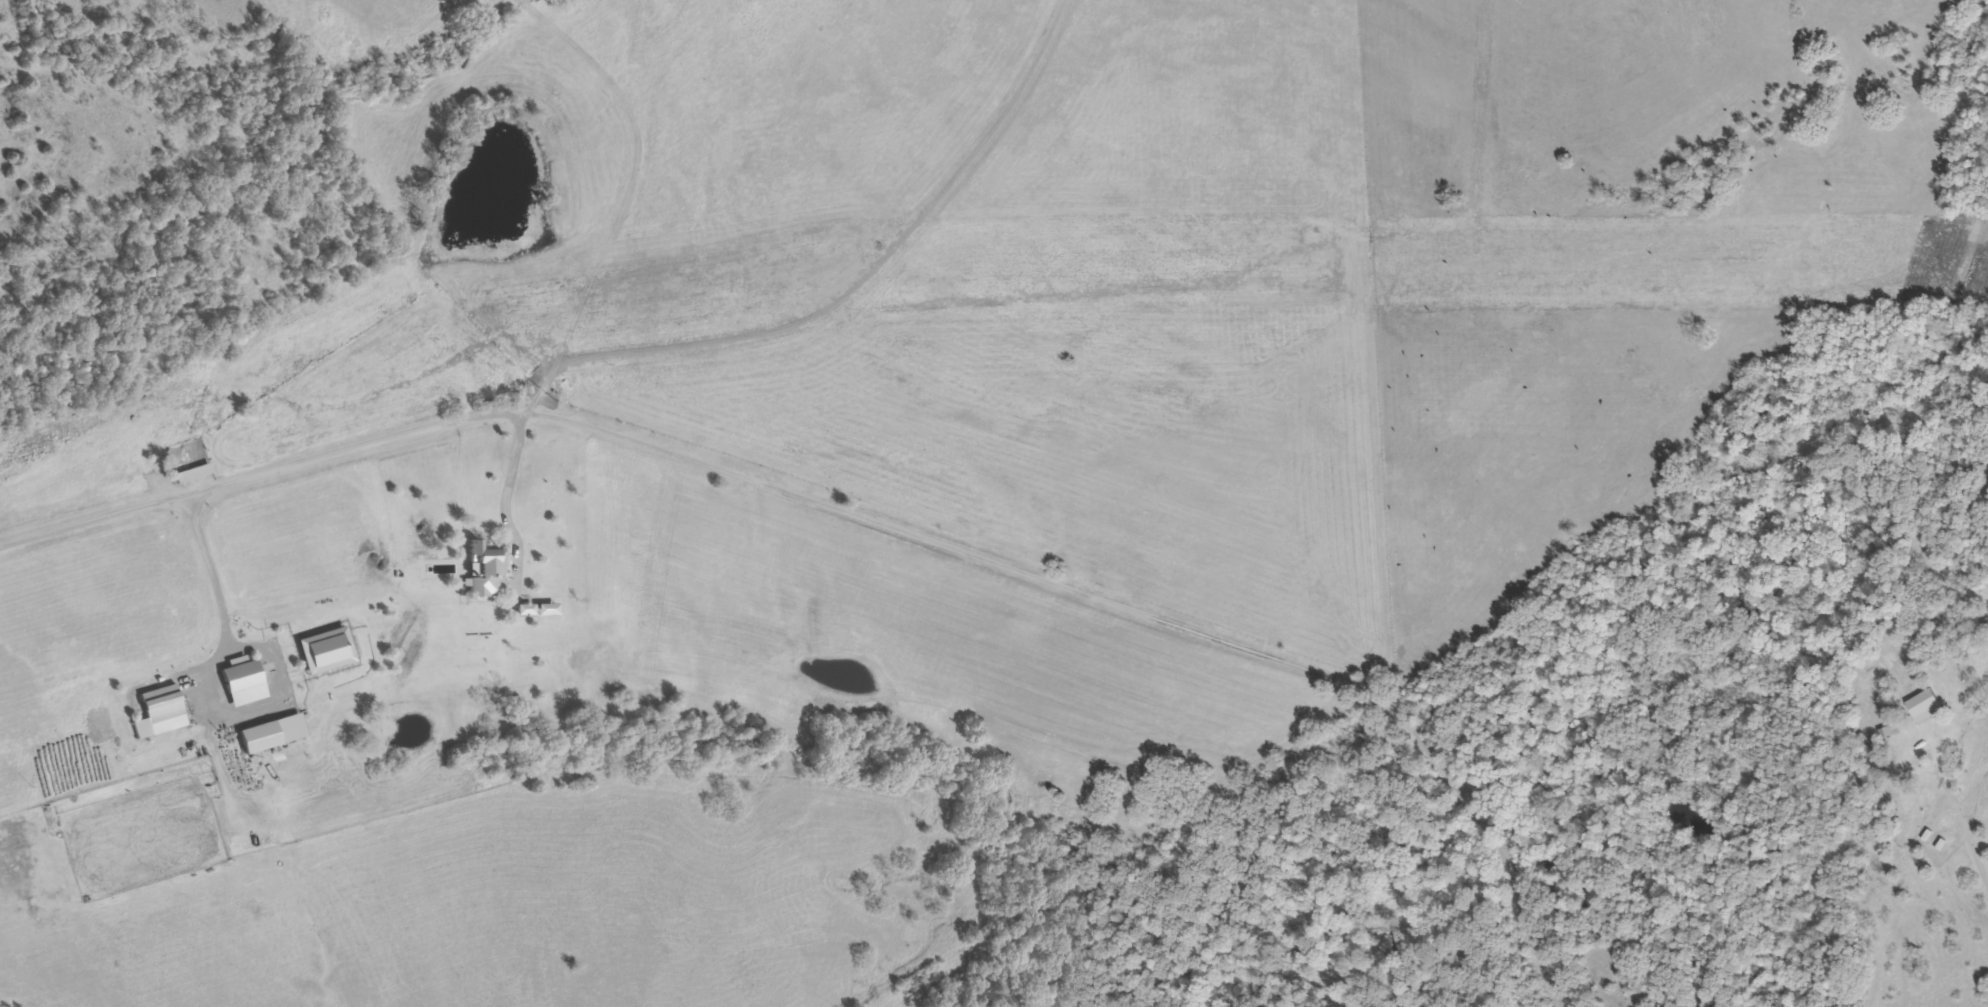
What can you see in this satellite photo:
road: (505, 490)
road: (876, 515)
building: (486, 567)
building: (1982, 625)
building: (243, 681)
road: (208, 683)
building: (161, 702)
building: (1869, 751)
road: (1961, 830)

